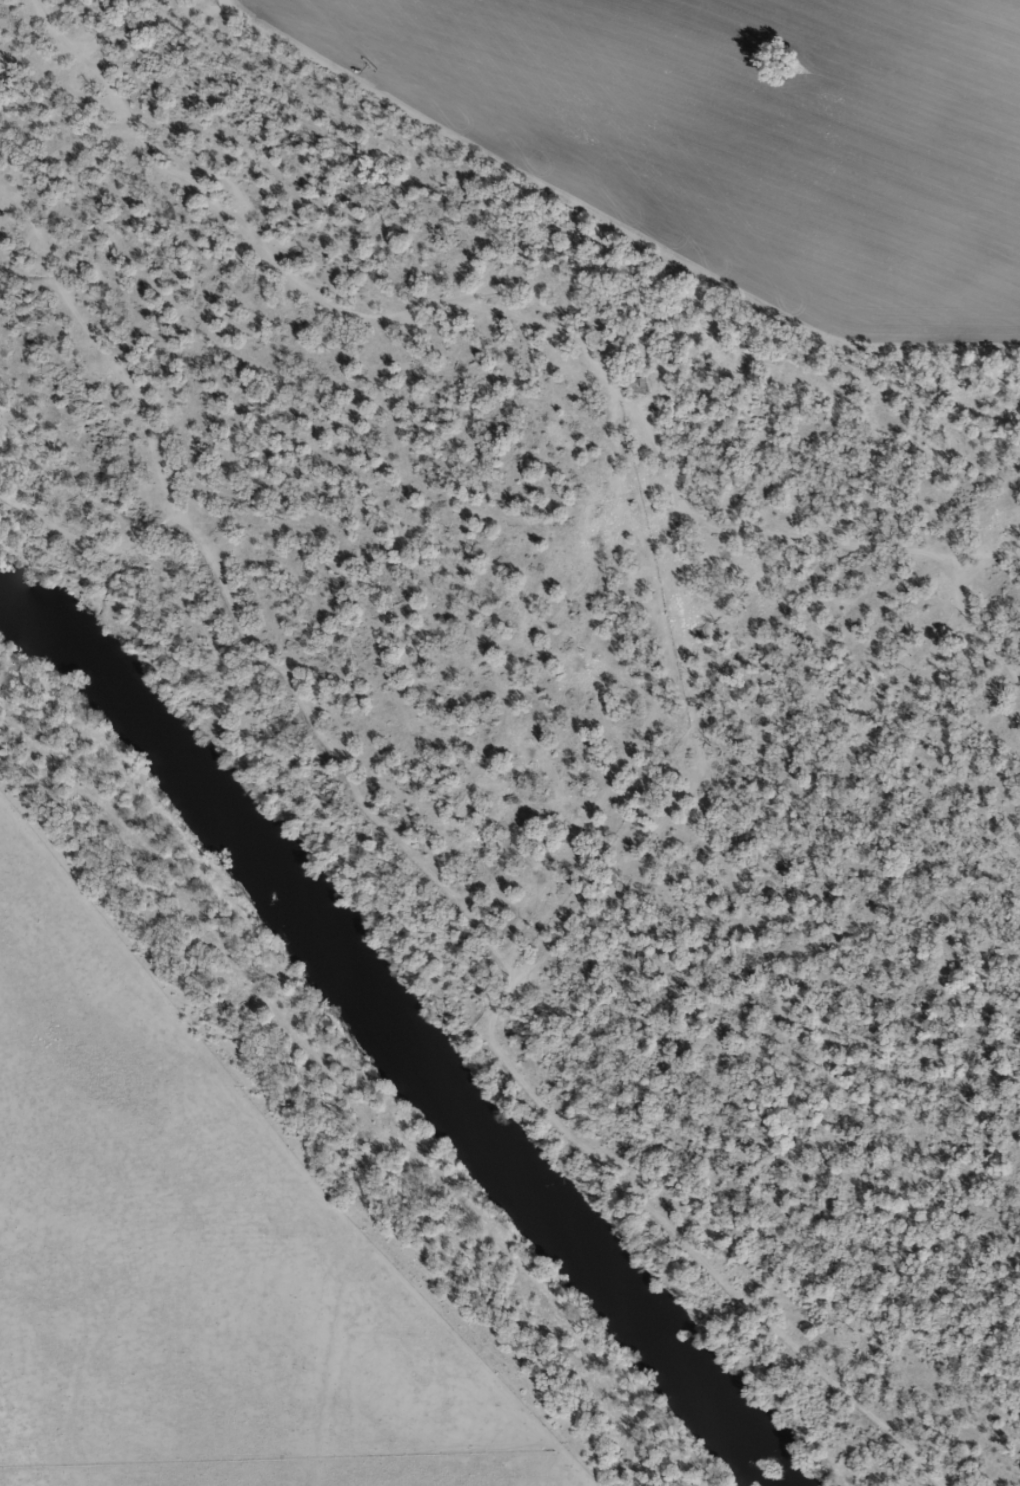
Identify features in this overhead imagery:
river: (68, 632)
river: (459, 1088)

